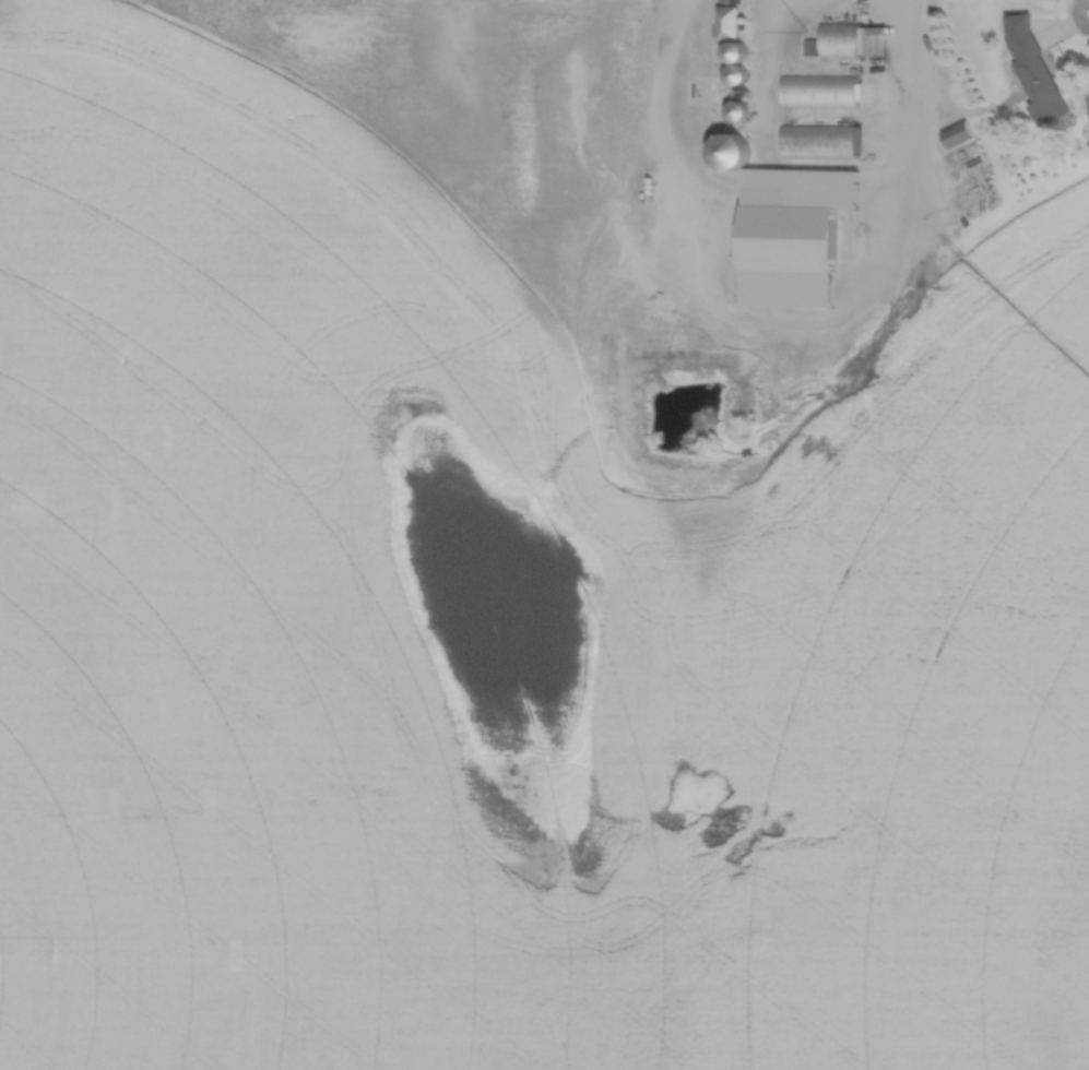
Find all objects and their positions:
building: (726, 25)
building: (1032, 71)
road: (898, 95)
building: (956, 136)
building: (726, 151)
building: (784, 257)

